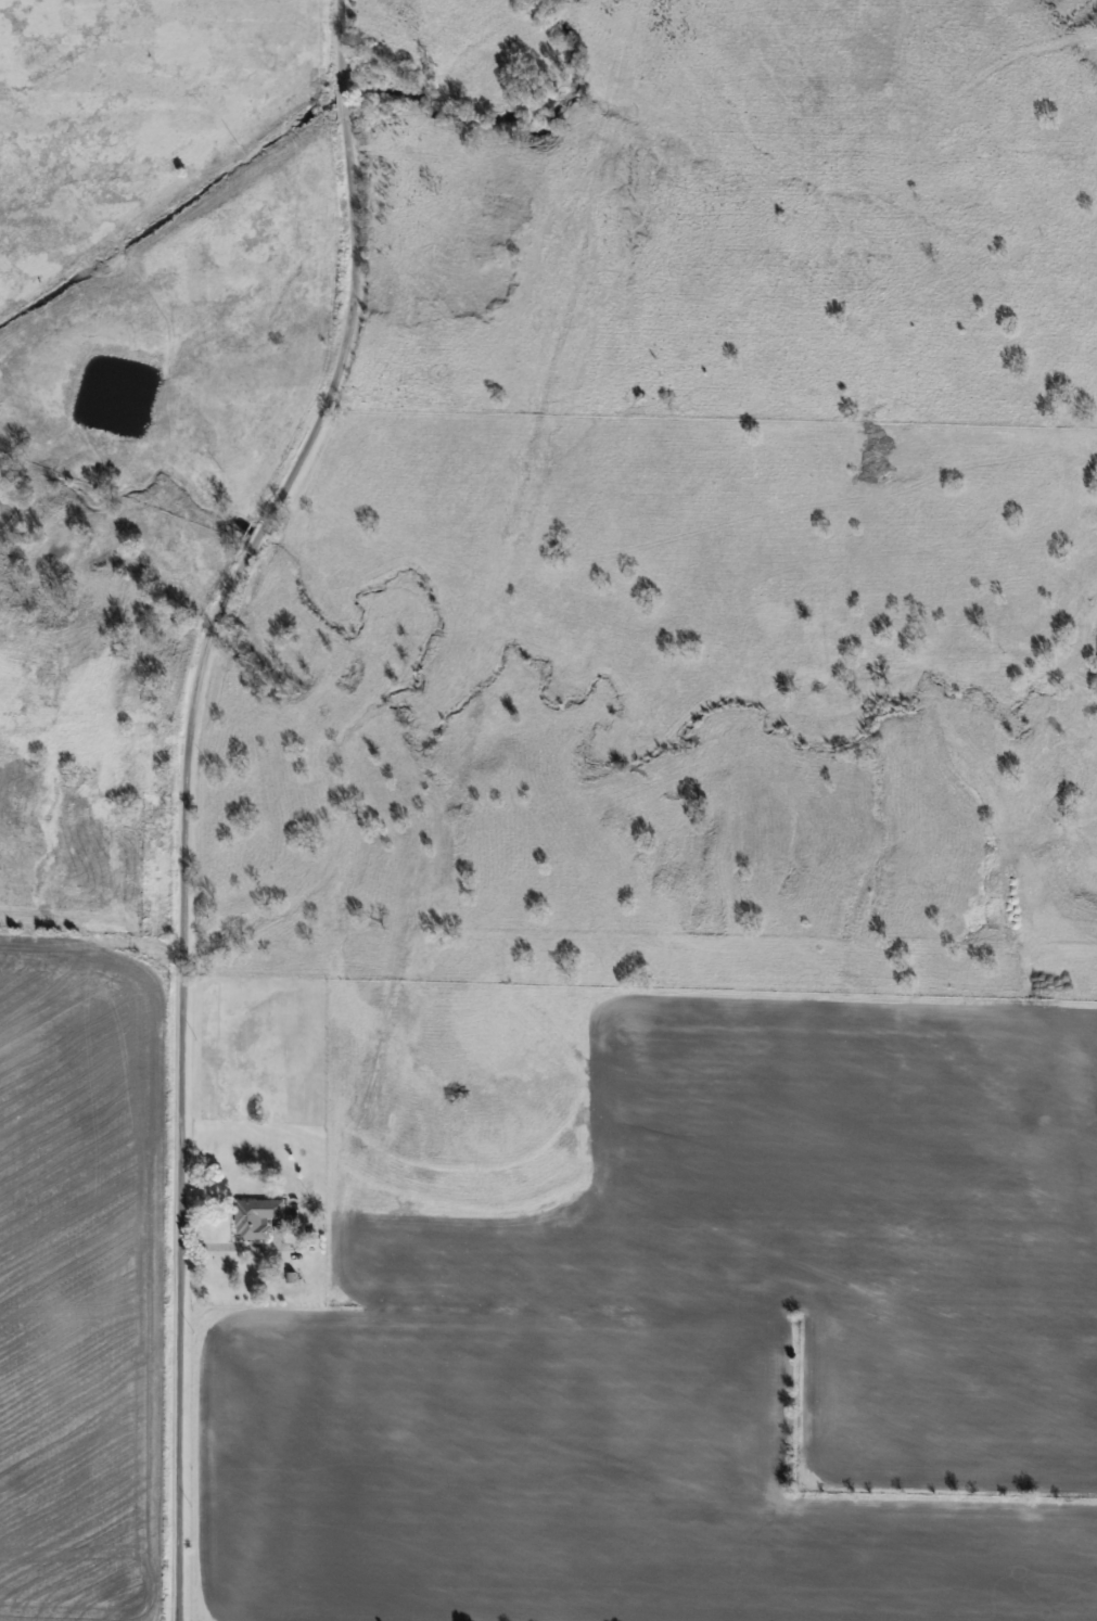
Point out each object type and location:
road: (183, 792)
building: (258, 1217)

